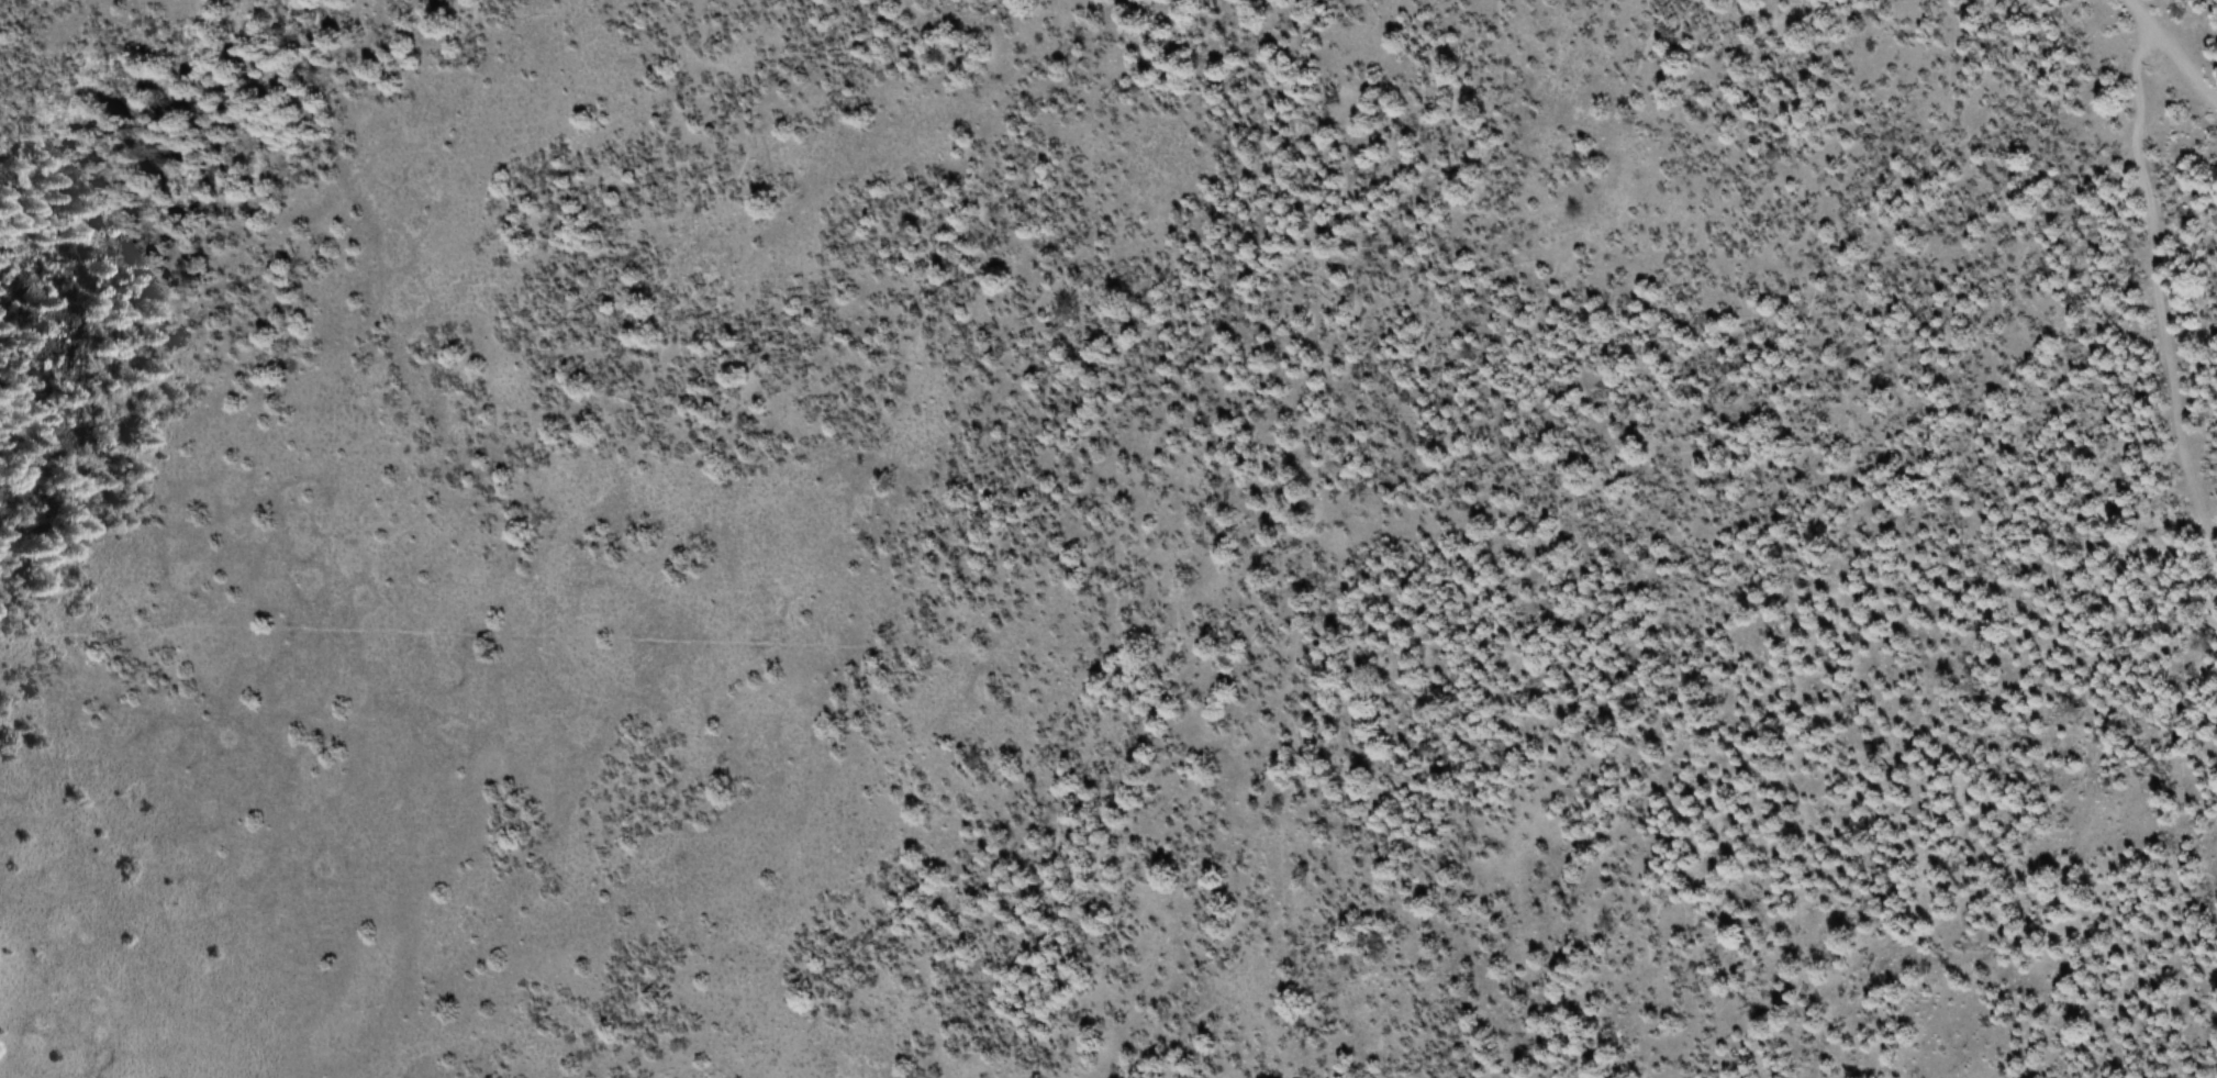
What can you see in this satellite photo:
road: (2171, 54)
road: (2158, 298)

